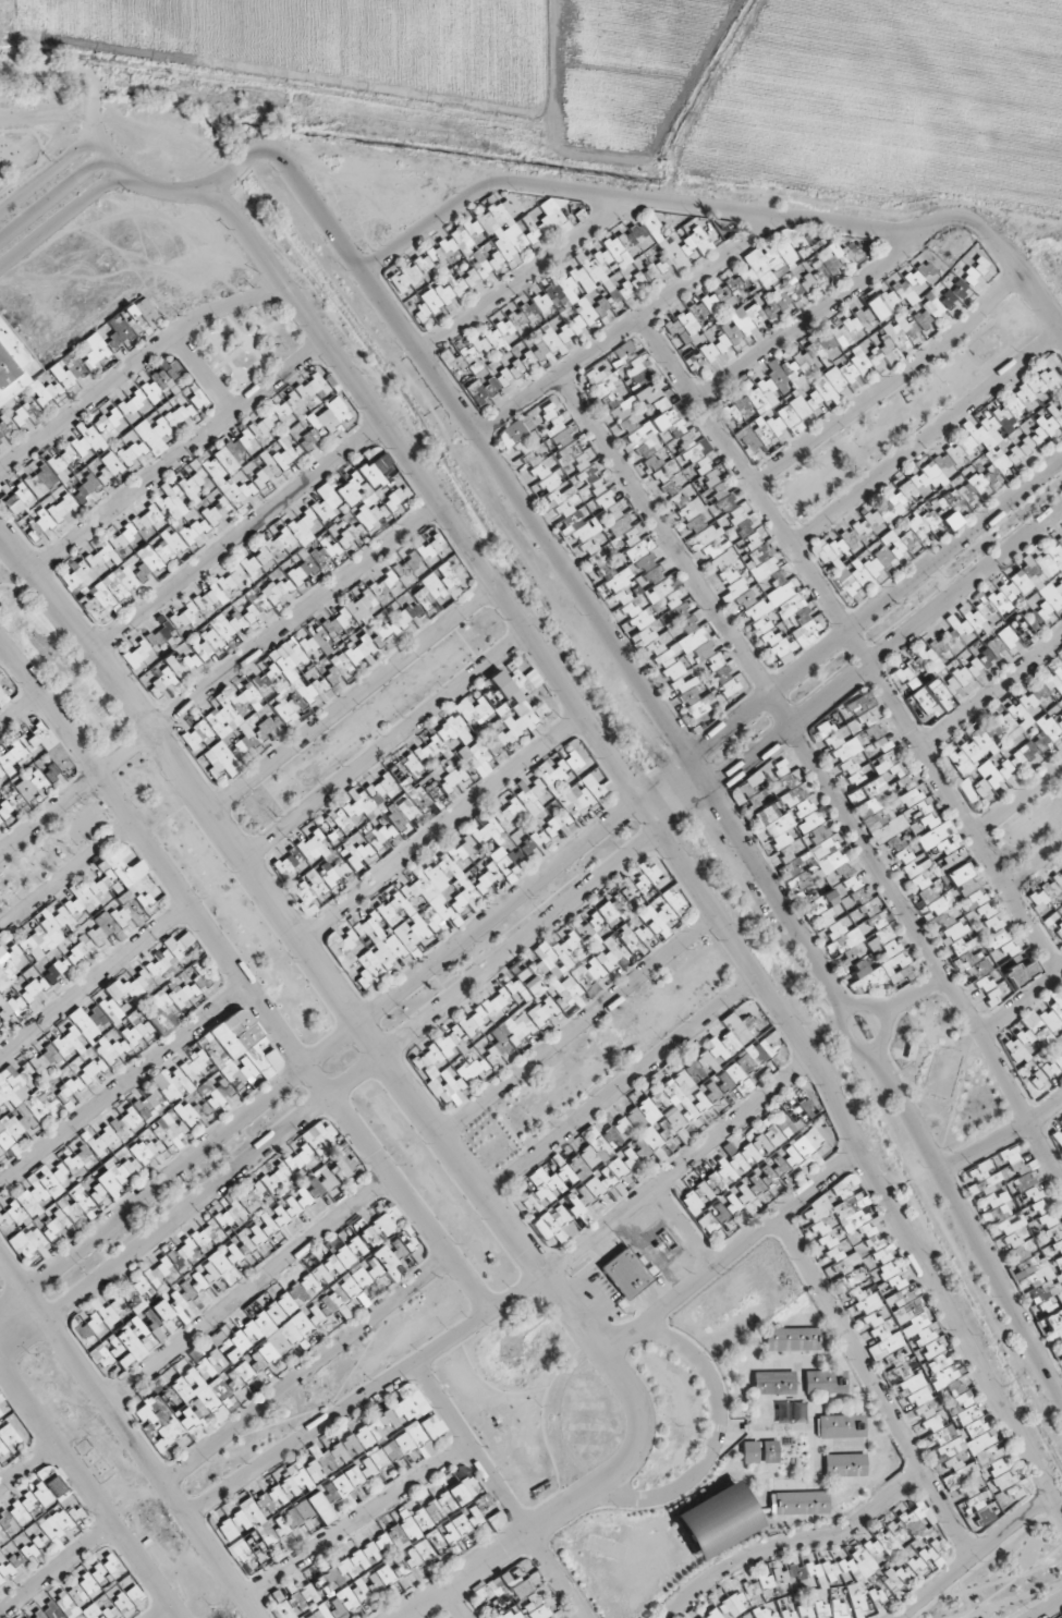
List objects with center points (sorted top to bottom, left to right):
road: (48, 68)
road: (48, 122)
road: (48, 172)
road: (144, 186)
road: (53, 199)
road: (699, 206)
road: (59, 219)
road: (419, 229)
road: (1003, 255)
road: (524, 276)
building: (916, 283)
road: (810, 319)
road: (627, 327)
park: (249, 343)
road: (132, 366)
road: (200, 376)
road: (890, 384)
road: (926, 438)
road: (176, 458)
road: (235, 537)
road: (563, 572)
road: (853, 642)
park: (59, 660)
road: (218, 680)
road: (990, 690)
road: (350, 702)
road: (381, 749)
building: (978, 750)
road: (821, 771)
road: (1017, 796)
road: (439, 831)
road: (664, 836)
park: (52, 850)
road: (1035, 866)
road: (530, 886)
road: (532, 934)
road: (324, 980)
road: (94, 982)
road: (240, 983)
road: (914, 997)
road: (1021, 1001)
road: (883, 1018)
road: (577, 1027)
building: (1039, 1033)
park: (601, 1055)
road: (123, 1088)
road: (620, 1088)
road: (1003, 1139)
road: (967, 1224)
road: (685, 1228)
road: (731, 1254)
building: (622, 1274)
road: (248, 1289)
road: (598, 1292)
road: (508, 1301)
road: (307, 1370)
road: (875, 1388)
road: (551, 1420)
park: (502, 1422)
road: (716, 1440)
road: (499, 1489)
road: (357, 1519)
road: (533, 1532)
road: (794, 1545)
road: (975, 1556)
park: (1009, 1577)
road: (1047, 1608)

